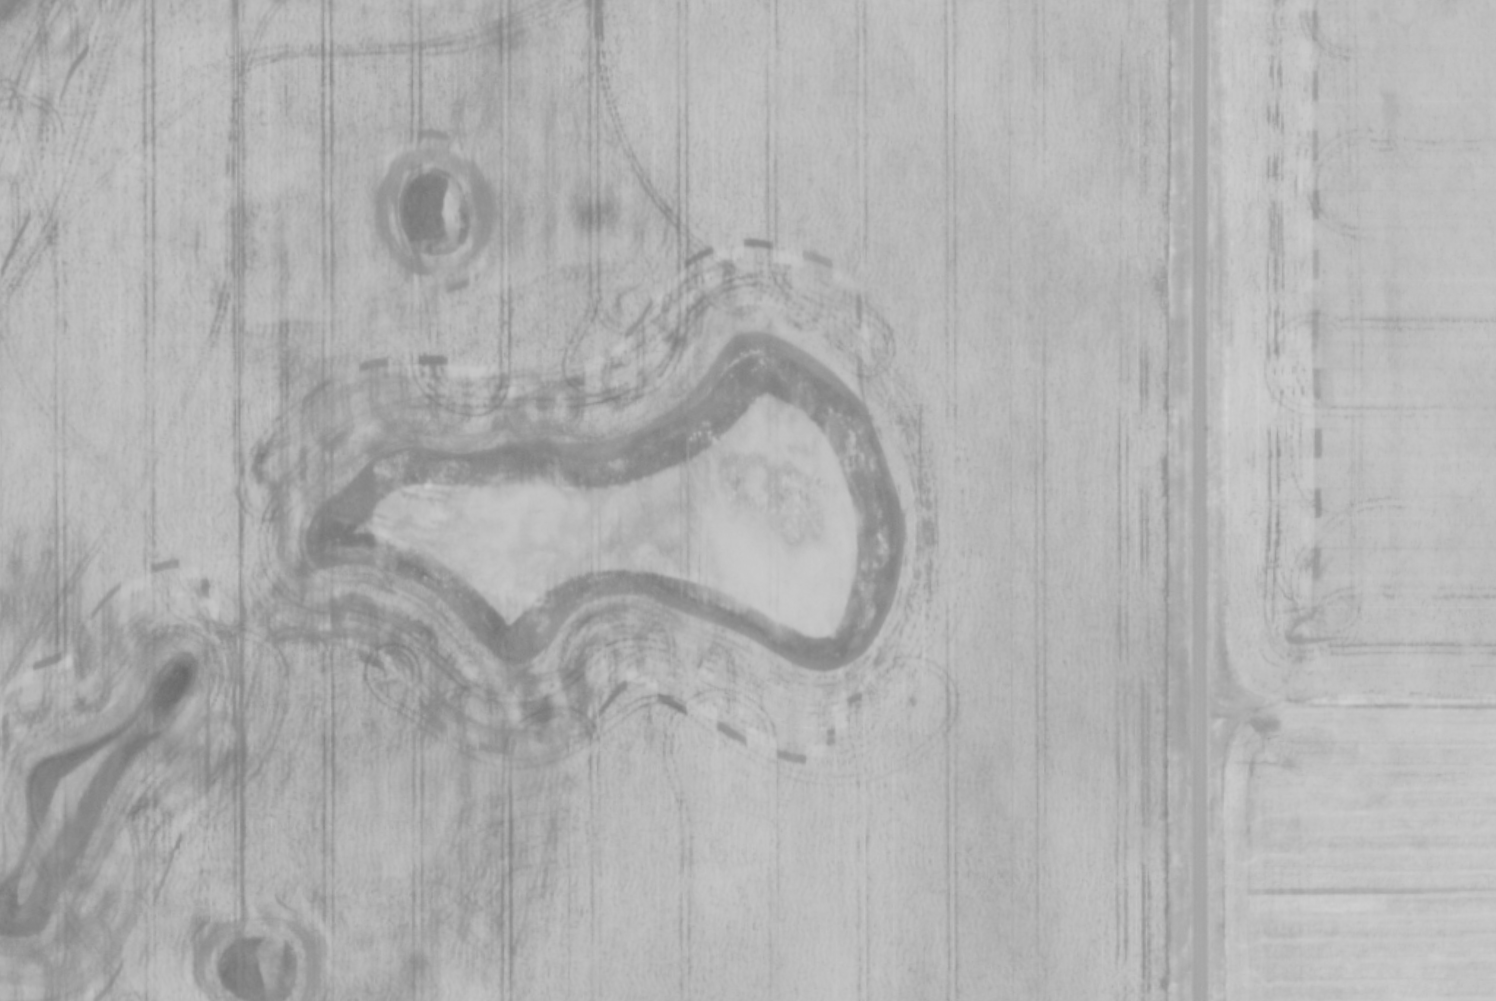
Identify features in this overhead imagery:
road: (1202, 500)

